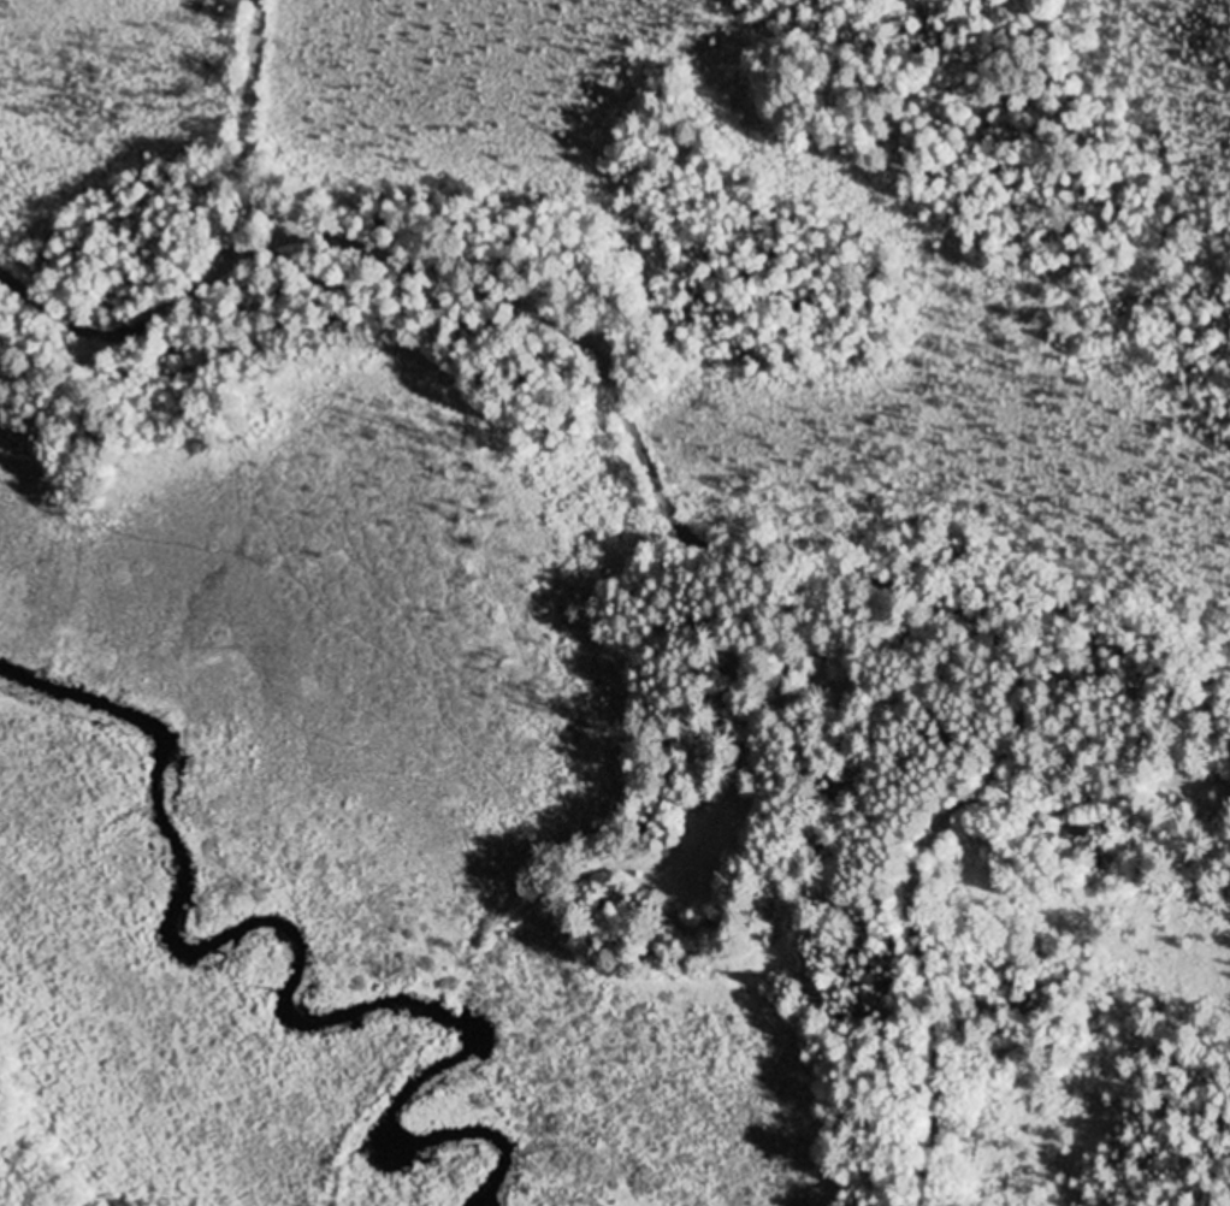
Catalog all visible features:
road: (164, 317)
road: (674, 528)
road: (933, 1113)

